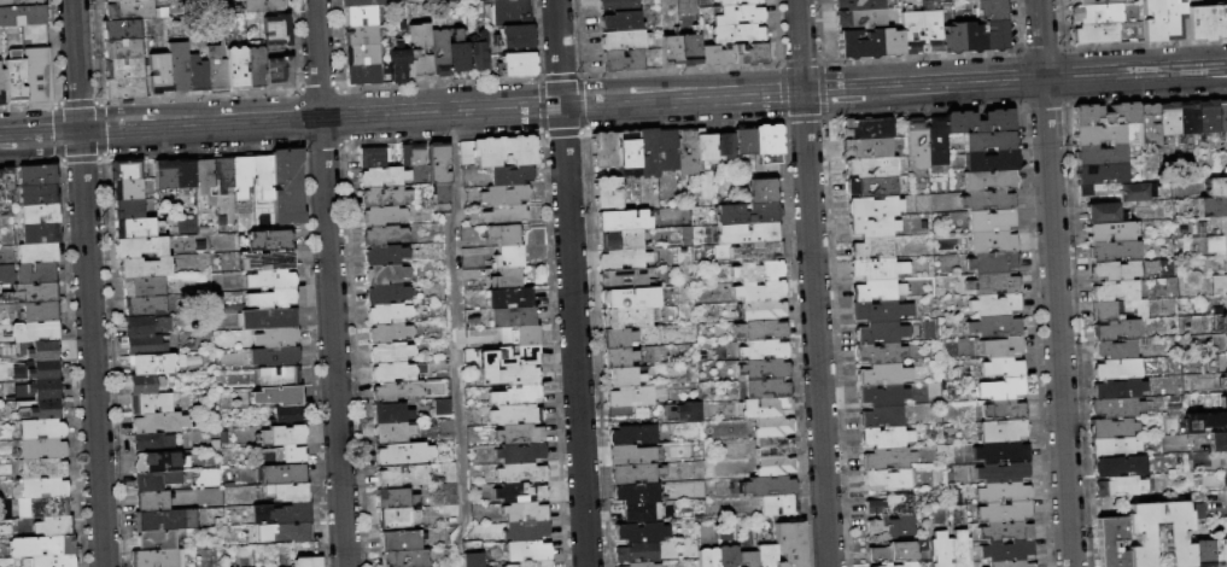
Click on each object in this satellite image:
building: (107, 0)
building: (122, 0)
building: (713, 0)
building: (738, 1)
building: (1092, 1)
building: (21, 2)
building: (355, 2)
building: (376, 2)
building: (859, 4)
building: (618, 5)
building: (262, 6)
building: (989, 8)
building: (134, 11)
building: (510, 12)
building: (1094, 12)
building: (22, 14)
building: (740, 14)
building: (358, 16)
building: (860, 18)
building: (1151, 19)
building: (1169, 19)
building: (620, 21)
building: (1205, 21)
building: (121, 30)
building: (277, 30)
building: (929, 30)
road: (1040, 31)
building: (908, 33)
building: (1093, 33)
building: (737, 34)
building: (360, 35)
building: (993, 35)
building: (969, 36)
building: (516, 37)
road: (799, 37)
building: (950, 39)
building: (625, 40)
building: (889, 41)
road: (1145, 41)
building: (858, 42)
road: (1041, 47)
building: (122, 48)
building: (690, 49)
building: (419, 51)
building: (670, 51)
building: (439, 52)
building: (458, 52)
building: (478, 52)
road: (557, 52)
building: (749, 52)
road: (919, 53)
building: (361, 54)
building: (714, 54)
road: (316, 58)
road: (1134, 58)
building: (623, 59)
building: (398, 60)
road: (801, 60)
building: (516, 64)
road: (1005, 64)
road: (75, 65)
building: (179, 66)
building: (256, 66)
building: (236, 68)
road: (680, 68)
building: (123, 69)
building: (216, 70)
railway: (1172, 71)
building: (280, 72)
road: (886, 72)
building: (158, 74)
building: (36, 75)
building: (198, 75)
building: (362, 75)
road: (560, 75)
road: (1065, 75)
road: (790, 76)
building: (13, 77)
road: (1021, 77)
road: (1044, 78)
road: (440, 81)
road: (666, 81)
building: (1, 84)
road: (894, 84)
road: (319, 87)
building: (123, 88)
road: (823, 88)
road: (1135, 88)
railway: (589, 89)
road: (782, 90)
road: (802, 90)
road: (585, 92)
road: (198, 94)
railway: (613, 97)
railway: (888, 97)
road: (826, 99)
road: (77, 100)
road: (1147, 100)
road: (583, 101)
road: (923, 101)
road: (28, 104)
road: (541, 105)
railway: (613, 105)
road: (1045, 106)
road: (152, 109)
road: (680, 110)
road: (440, 111)
road: (923, 112)
building: (1108, 115)
road: (343, 116)
building: (1222, 116)
railway: (104, 117)
building: (1208, 117)
road: (299, 118)
building: (1188, 118)
road: (101, 119)
road: (804, 119)
building: (1169, 119)
building: (980, 121)
road: (199, 124)
road: (683, 125)
building: (1150, 125)
road: (101, 128)
building: (867, 128)
road: (58, 131)
road: (562, 131)
road: (39, 133)
building: (1100, 134)
road: (443, 139)
building: (744, 141)
building: (939, 141)
building: (989, 141)
road: (57, 142)
building: (918, 142)
railway: (54, 144)
building: (769, 144)
road: (321, 145)
building: (726, 145)
building: (706, 146)
building: (869, 148)
road: (42, 150)
building: (606, 150)
building: (629, 150)
building: (668, 150)
road: (201, 152)
building: (502, 152)
building: (688, 152)
building: (648, 153)
building: (1100, 153)
building: (414, 156)
building: (373, 158)
road: (81, 159)
building: (991, 162)
road: (29, 163)
building: (871, 168)
building: (127, 170)
building: (440, 173)
building: (185, 174)
building: (224, 174)
building: (39, 175)
building: (165, 175)
building: (1099, 175)
building: (264, 176)
building: (513, 176)
building: (244, 177)
building: (385, 177)
building: (205, 179)
building: (989, 180)
building: (288, 187)
building: (873, 187)
building: (1217, 187)
building: (6, 191)
building: (128, 191)
building: (763, 191)
building: (608, 193)
building: (1139, 193)
building: (39, 195)
building: (506, 195)
building: (385, 197)
building: (988, 200)
building: (875, 206)
building: (1213, 207)
building: (128, 210)
building: (748, 214)
building: (1104, 214)
building: (40, 215)
building: (384, 216)
building: (507, 216)
building: (624, 221)
building: (992, 221)
building: (1225, 226)
building: (875, 227)
building: (138, 228)
building: (749, 233)
building: (1110, 233)
building: (41, 234)
building: (507, 234)
building: (385, 235)
building: (270, 240)
building: (621, 241)
building: (993, 241)
building: (1216, 245)
building: (141, 247)
building: (872, 249)
building: (758, 251)
building: (1115, 251)
building: (39, 253)
building: (385, 255)
building: (510, 258)
building: (625, 259)
building: (268, 261)
building: (994, 262)
building: (145, 268)
building: (876, 270)
building: (759, 271)
building: (1115, 271)
building: (29, 274)
building: (387, 275)
building: (510, 279)
building: (625, 279)
building: (271, 280)
building: (995, 285)
building: (145, 287)
building: (760, 291)
building: (1116, 291)
building: (875, 292)
building: (35, 293)
building: (387, 294)
building: (630, 298)
building: (274, 299)
building: (510, 299)
building: (995, 305)
building: (146, 306)
building: (764, 310)
building: (875, 311)
building: (1106, 311)
building: (42, 312)
building: (388, 314)
building: (513, 317)
building: (627, 317)
building: (268, 318)
building: (1225, 323)
building: (147, 326)
building: (995, 326)
building: (761, 329)
road: (1057, 329)
building: (1118, 329)
building: (36, 332)
building: (390, 333)
building: (882, 333)
road: (573, 335)
road: (816, 335)
building: (520, 337)
building: (279, 338)
building: (619, 338)
road: (454, 339)
road: (332, 343)
building: (146, 346)
building: (1001, 346)
road: (90, 349)
building: (764, 350)
building: (1116, 350)
building: (40, 351)
building: (391, 352)
building: (882, 353)
building: (512, 356)
building: (276, 357)
building: (620, 357)
building: (153, 364)
building: (1003, 368)
building: (765, 369)
building: (1120, 369)
building: (39, 370)
building: (393, 373)
building: (884, 374)
building: (513, 375)
building: (280, 378)
building: (625, 378)
building: (1226, 380)
building: (146, 385)
building: (767, 388)
building: (1003, 388)
building: (46, 390)
building: (1120, 390)
building: (399, 392)
building: (884, 394)
building: (518, 396)
building: (280, 397)
building: (629, 401)
building: (1225, 402)
building: (152, 404)
building: (444, 407)
building: (767, 408)
building: (1118, 408)
building: (43, 410)
building: (1005, 410)
building: (684, 413)
building: (392, 414)
building: (518, 415)
building: (288, 416)
building: (882, 417)
building: (1204, 422)
building: (159, 423)
building: (446, 427)
building: (773, 427)
building: (1115, 428)
building: (42, 429)
building: (1003, 432)
building: (395, 433)
building: (521, 434)
building: (284, 436)
building: (633, 436)
building: (887, 438)
building: (153, 442)
building: (1219, 442)
building: (775, 448)
building: (1115, 448)
building: (43, 449)
building: (1001, 452)
building: (404, 454)
building: (521, 454)
building: (267, 455)
building: (293, 455)
building: (632, 456)
building: (889, 458)
building: (160, 462)
building: (776, 467)
building: (1120, 467)
building: (43, 468)
building: (449, 472)
building: (522, 473)
building: (1004, 473)
building: (637, 474)
building: (1226, 474)
building: (284, 475)
building: (404, 475)
building: (889, 480)
building: (157, 481)
building: (770, 486)
building: (43, 487)
building: (1121, 487)
building: (291, 492)
building: (1004, 492)
building: (521, 493)
building: (637, 493)
building: (449, 495)
building: (397, 498)
building: (154, 502)
building: (779, 505)
building: (893, 505)
building: (43, 508)
building: (450, 510)
building: (526, 512)
building: (1006, 512)
building: (641, 513)
building: (282, 515)
building: (398, 518)
building: (166, 520)
building: (55, 526)
building: (894, 527)
building: (527, 531)
building: (1006, 531)
building: (642, 532)
building: (287, 533)
building: (1145, 536)
building: (159, 538)
building: (401, 540)
building: (1112, 542)
building: (791, 544)
building: (43, 546)
building: (941, 549)
building: (962, 549)
building: (528, 551)
building: (1007, 551)
building: (894, 553)
building: (1220, 553)
building: (638, 554)
building: (1203, 554)
building: (729, 555)
building: (767, 555)
building: (709, 557)
building: (157, 559)
building: (407, 559)
building: (749, 559)
building: (473, 560)
building: (55, 561)
building: (309, 562)
building: (534, 563)
building: (1010, 563)
building: (643, 565)
building: (888, 565)
building: (908, 565)

